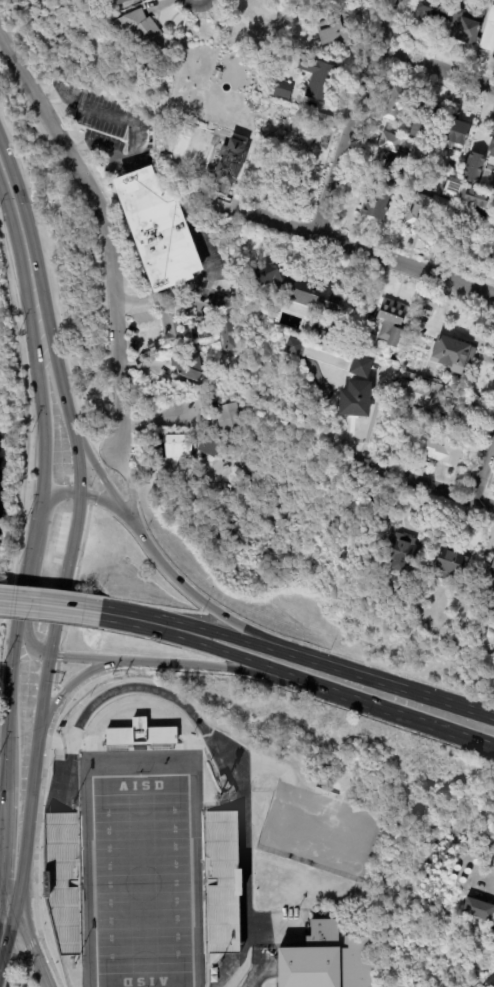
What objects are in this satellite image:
building: (121, 1)
building: (430, 13)
building: (254, 19)
building: (464, 26)
building: (337, 27)
building: (488, 31)
building: (143, 33)
road: (436, 66)
building: (317, 78)
road: (437, 83)
building: (284, 89)
road: (54, 99)
building: (398, 102)
road: (356, 116)
building: (428, 119)
building: (458, 130)
building: (324, 142)
building: (391, 142)
building: (492, 147)
road: (132, 149)
building: (398, 162)
building: (231, 166)
building: (476, 168)
building: (453, 188)
building: (475, 197)
building: (378, 201)
building: (428, 211)
road: (108, 228)
building: (159, 229)
road: (303, 229)
building: (493, 249)
road: (24, 250)
road: (445, 262)
road: (443, 277)
building: (307, 298)
road: (56, 305)
building: (421, 320)
building: (392, 322)
building: (174, 325)
building: (204, 328)
building: (232, 344)
building: (294, 347)
building: (418, 351)
building: (454, 355)
building: (362, 367)
building: (189, 368)
road: (18, 384)
road: (6, 385)
building: (434, 400)
building: (357, 401)
road: (27, 418)
road: (154, 418)
building: (230, 418)
park: (9, 421)
road: (479, 443)
road: (44, 445)
building: (159, 446)
building: (179, 446)
building: (209, 446)
building: (435, 448)
road: (483, 464)
building: (254, 474)
road: (488, 479)
road: (425, 481)
road: (129, 487)
road: (489, 491)
road: (473, 492)
road: (89, 498)
building: (382, 515)
building: (402, 550)
building: (450, 563)
road: (166, 567)
building: (491, 567)
road: (26, 584)
road: (73, 585)
building: (403, 595)
road: (50, 606)
road: (57, 617)
road: (48, 620)
road: (140, 621)
road: (5, 628)
road: (284, 637)
road: (159, 640)
road: (249, 642)
road: (257, 664)
road: (167, 665)
road: (132, 667)
road: (67, 687)
road: (10, 688)
road: (405, 688)
road: (415, 719)
building: (139, 733)
road: (223, 758)
building: (225, 781)
road: (5, 830)
park: (213, 852)
building: (63, 879)
park: (141, 880)
building: (221, 881)
building: (479, 909)
road: (5, 917)
building: (480, 929)
road: (0, 937)
road: (28, 943)
building: (329, 959)
road: (10, 963)
road: (22, 964)
road: (3, 974)
road: (4, 978)

